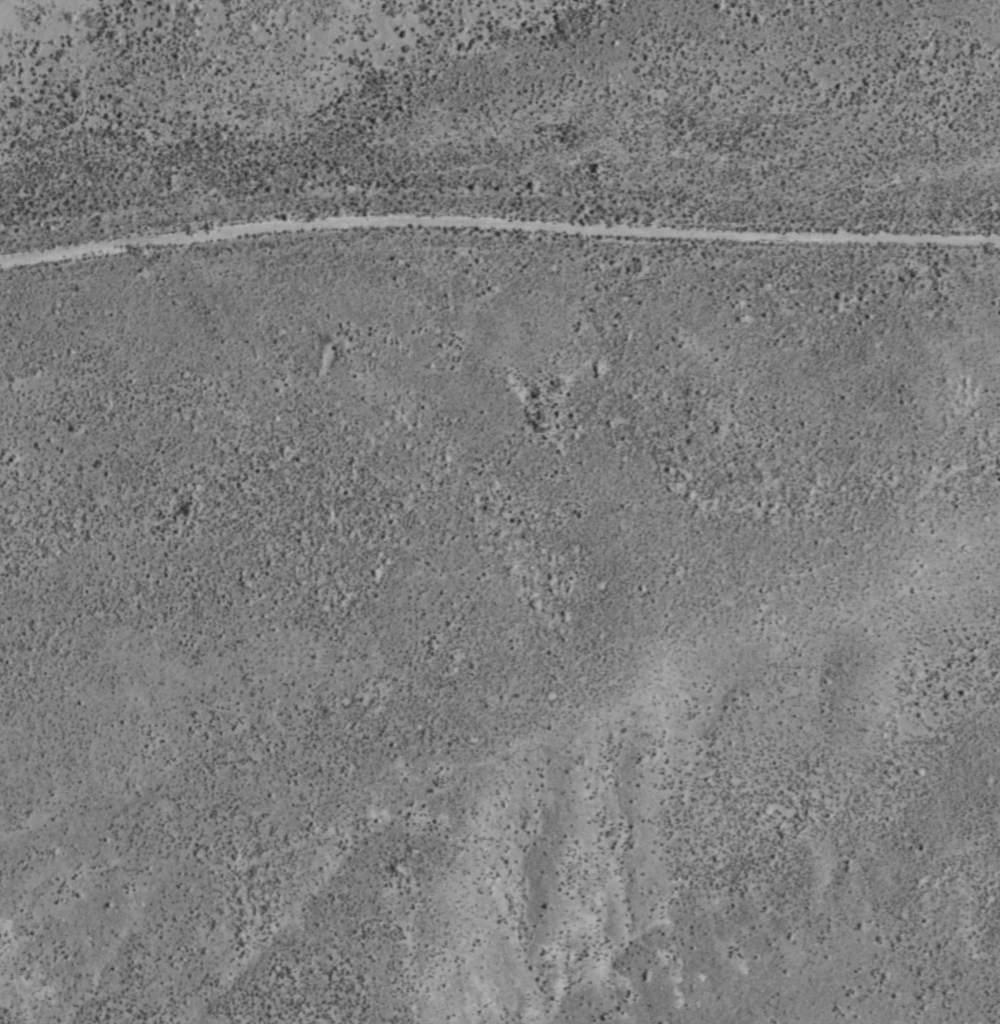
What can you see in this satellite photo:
road: (498, 232)

